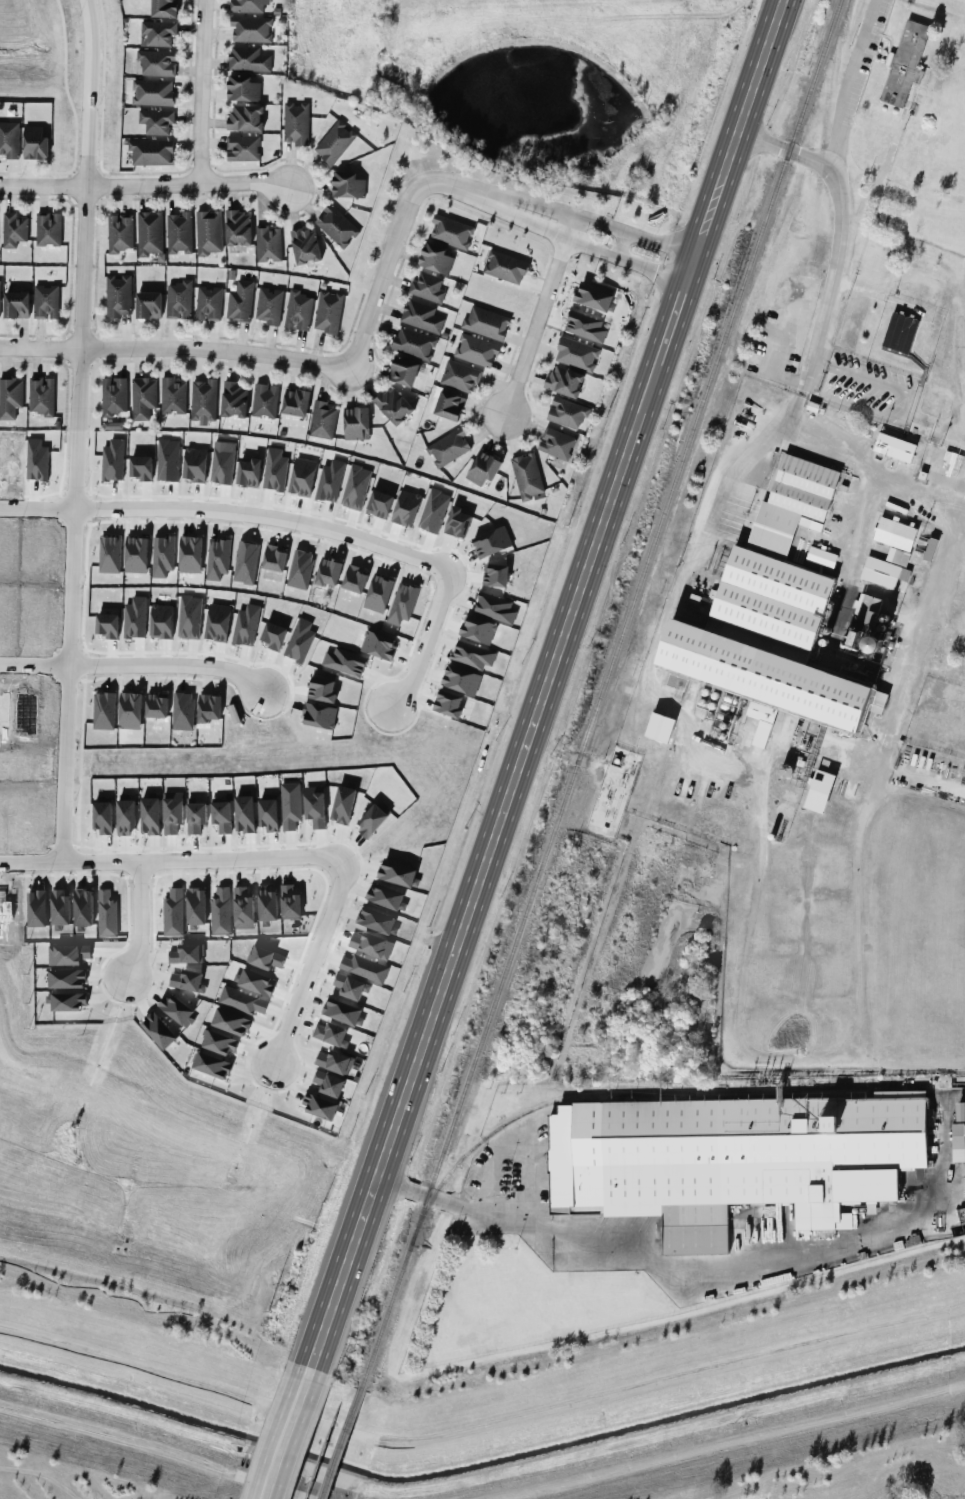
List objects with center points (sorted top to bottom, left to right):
building: (247, 6)
building: (164, 8)
building: (250, 29)
building: (157, 33)
building: (248, 59)
building: (157, 63)
building: (904, 64)
road: (847, 82)
building: (242, 89)
road: (202, 91)
building: (152, 93)
building: (245, 118)
building: (156, 121)
building: (295, 123)
building: (9, 140)
road: (735, 141)
building: (34, 143)
building: (334, 143)
building: (242, 148)
building: (150, 153)
road: (143, 185)
building: (347, 186)
road: (554, 209)
road: (84, 212)
building: (335, 226)
building: (238, 228)
building: (48, 229)
building: (13, 230)
road: (546, 231)
building: (208, 232)
building: (452, 232)
building: (119, 233)
building: (149, 233)
building: (179, 233)
road: (839, 234)
road: (659, 242)
road: (617, 243)
building: (267, 244)
road: (393, 244)
building: (305, 246)
building: (435, 259)
building: (505, 267)
road: (649, 269)
building: (0, 284)
building: (426, 288)
building: (118, 296)
building: (593, 298)
building: (178, 300)
building: (45, 302)
building: (240, 302)
building: (208, 303)
building: (16, 305)
building: (148, 305)
building: (268, 306)
building: (298, 311)
building: (328, 312)
road: (536, 314)
building: (421, 317)
building: (485, 323)
road: (671, 323)
building: (585, 327)
building: (900, 333)
building: (413, 344)
road: (174, 349)
building: (476, 351)
building: (576, 355)
building: (403, 372)
building: (459, 376)
building: (564, 382)
building: (41, 396)
building: (113, 396)
building: (172, 396)
building: (10, 397)
building: (143, 398)
building: (233, 400)
building: (203, 401)
building: (264, 401)
building: (295, 402)
building: (393, 405)
building: (448, 406)
road: (905, 408)
building: (566, 413)
building: (322, 420)
building: (355, 422)
building: (112, 426)
building: (556, 444)
building: (894, 447)
building: (448, 448)
building: (112, 460)
building: (167, 460)
building: (222, 462)
building: (194, 464)
building: (140, 468)
building: (482, 469)
building: (274, 470)
building: (248, 473)
building: (527, 476)
building: (302, 477)
building: (329, 480)
building: (355, 488)
building: (379, 504)
building: (406, 508)
building: (433, 510)
road: (36, 515)
road: (953, 520)
building: (457, 523)
road: (259, 524)
building: (895, 534)
building: (491, 542)
building: (109, 554)
building: (135, 554)
building: (190, 554)
building: (162, 556)
building: (821, 557)
building: (898, 557)
building: (216, 558)
building: (274, 558)
building: (245, 562)
building: (300, 569)
building: (327, 572)
building: (883, 573)
building: (495, 575)
building: (354, 579)
building: (378, 593)
building: (402, 603)
building: (875, 604)
building: (495, 608)
building: (776, 613)
building: (189, 617)
building: (135, 618)
building: (160, 621)
building: (217, 623)
building: (245, 625)
building: (477, 630)
road: (916, 635)
building: (273, 636)
building: (300, 640)
road: (69, 643)
building: (378, 645)
building: (871, 646)
road: (428, 649)
building: (472, 655)
building: (345, 662)
road: (34, 673)
road: (168, 678)
building: (461, 680)
building: (322, 690)
railway: (601, 694)
building: (449, 704)
building: (156, 705)
building: (208, 708)
building: (103, 711)
building: (130, 711)
building: (182, 711)
building: (319, 716)
building: (659, 728)
road: (564, 753)
building: (819, 791)
building: (343, 805)
building: (290, 806)
building: (314, 806)
building: (172, 812)
building: (244, 814)
building: (268, 814)
building: (221, 815)
building: (149, 816)
building: (195, 816)
building: (102, 817)
building: (125, 817)
building: (372, 820)
road: (31, 861)
road: (482, 866)
road: (193, 868)
building: (396, 874)
building: (385, 897)
building: (267, 903)
building: (290, 903)
building: (59, 906)
building: (82, 907)
building: (195, 907)
building: (36, 908)
building: (243, 908)
building: (220, 912)
building: (173, 913)
building: (106, 914)
building: (377, 921)
road: (139, 931)
building: (370, 945)
building: (187, 954)
building: (68, 955)
building: (265, 958)
road: (316, 966)
building: (364, 968)
building: (66, 979)
building: (187, 981)
building: (255, 982)
building: (350, 987)
building: (66, 1001)
building: (242, 1001)
building: (176, 1009)
building: (341, 1012)
building: (230, 1022)
building: (158, 1031)
building: (331, 1034)
building: (219, 1043)
building: (333, 1062)
building: (211, 1066)
building: (328, 1084)
building: (318, 1106)
building: (960, 1112)
building: (958, 1143)
building: (731, 1160)
road: (467, 1207)
road: (771, 1264)
road: (286, 1433)
railway: (340, 1444)
river: (482, 1467)

